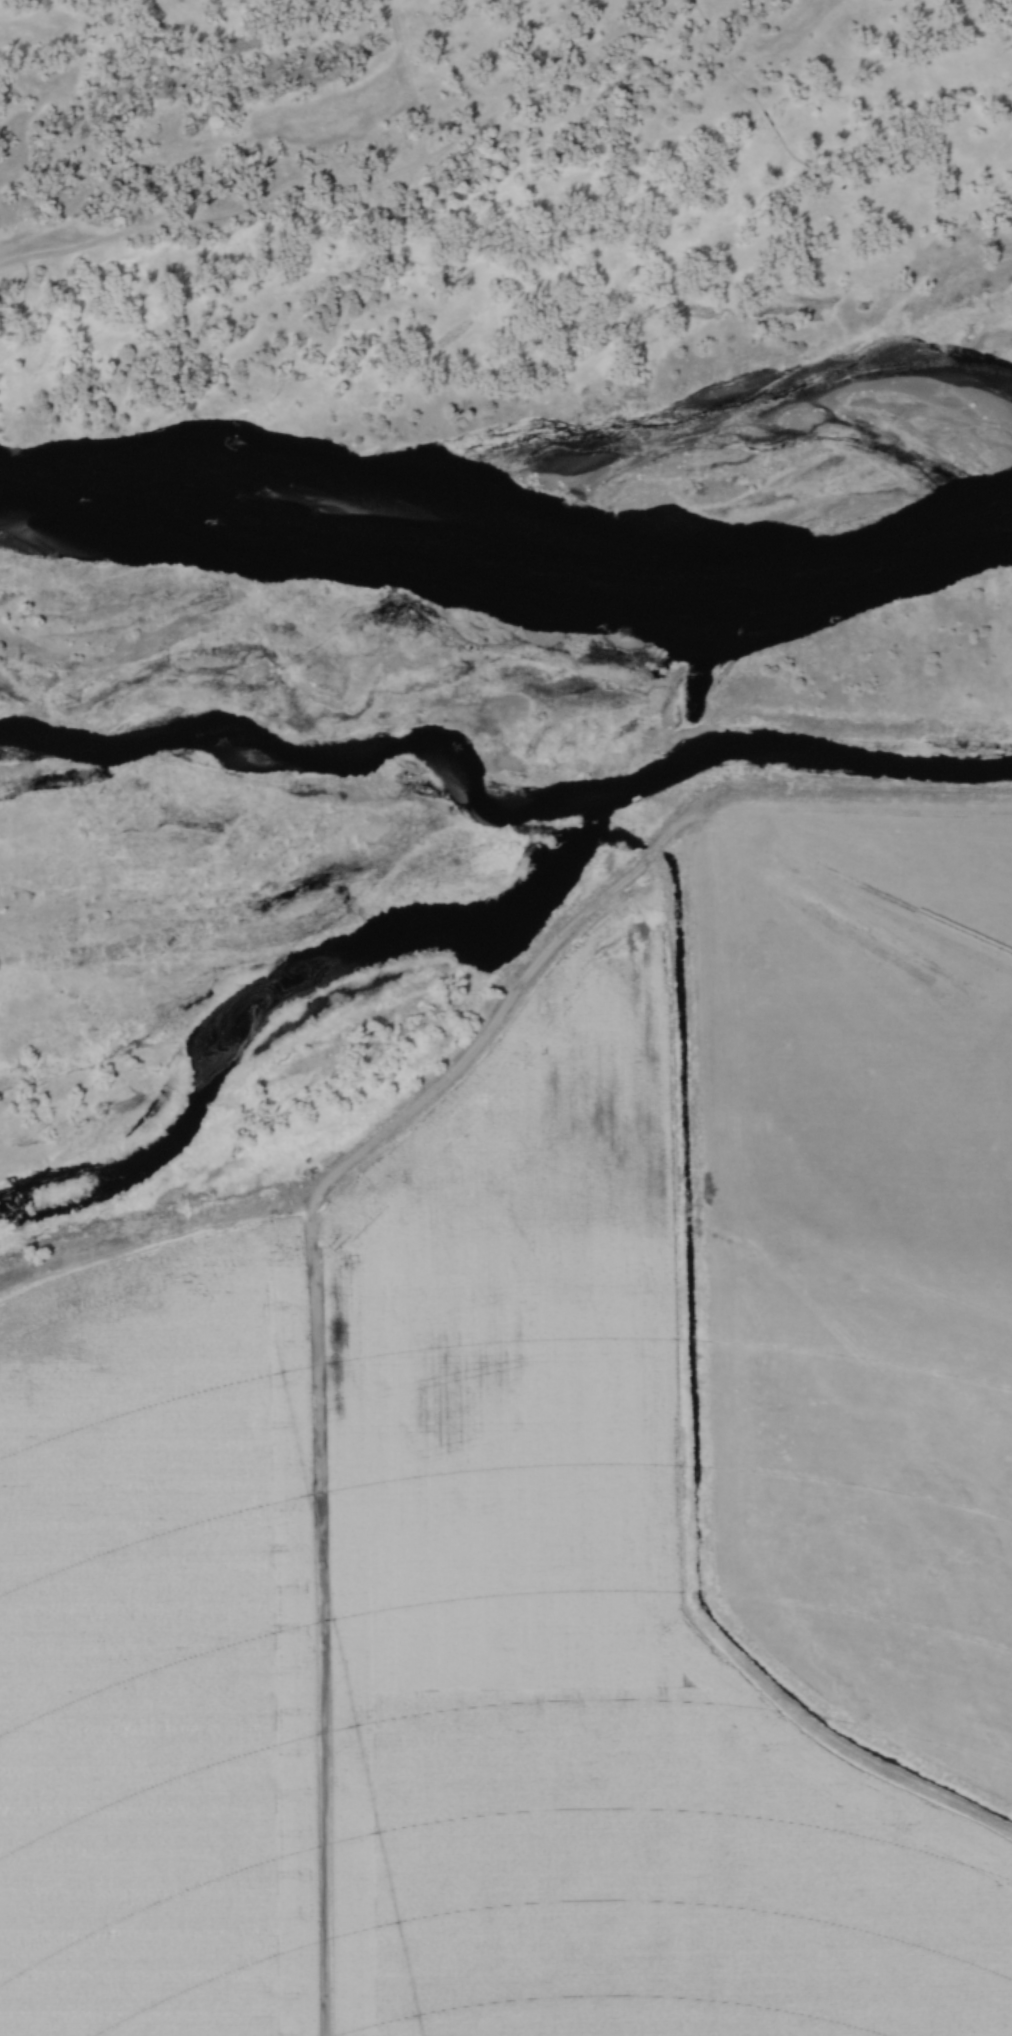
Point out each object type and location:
river: (505, 540)

